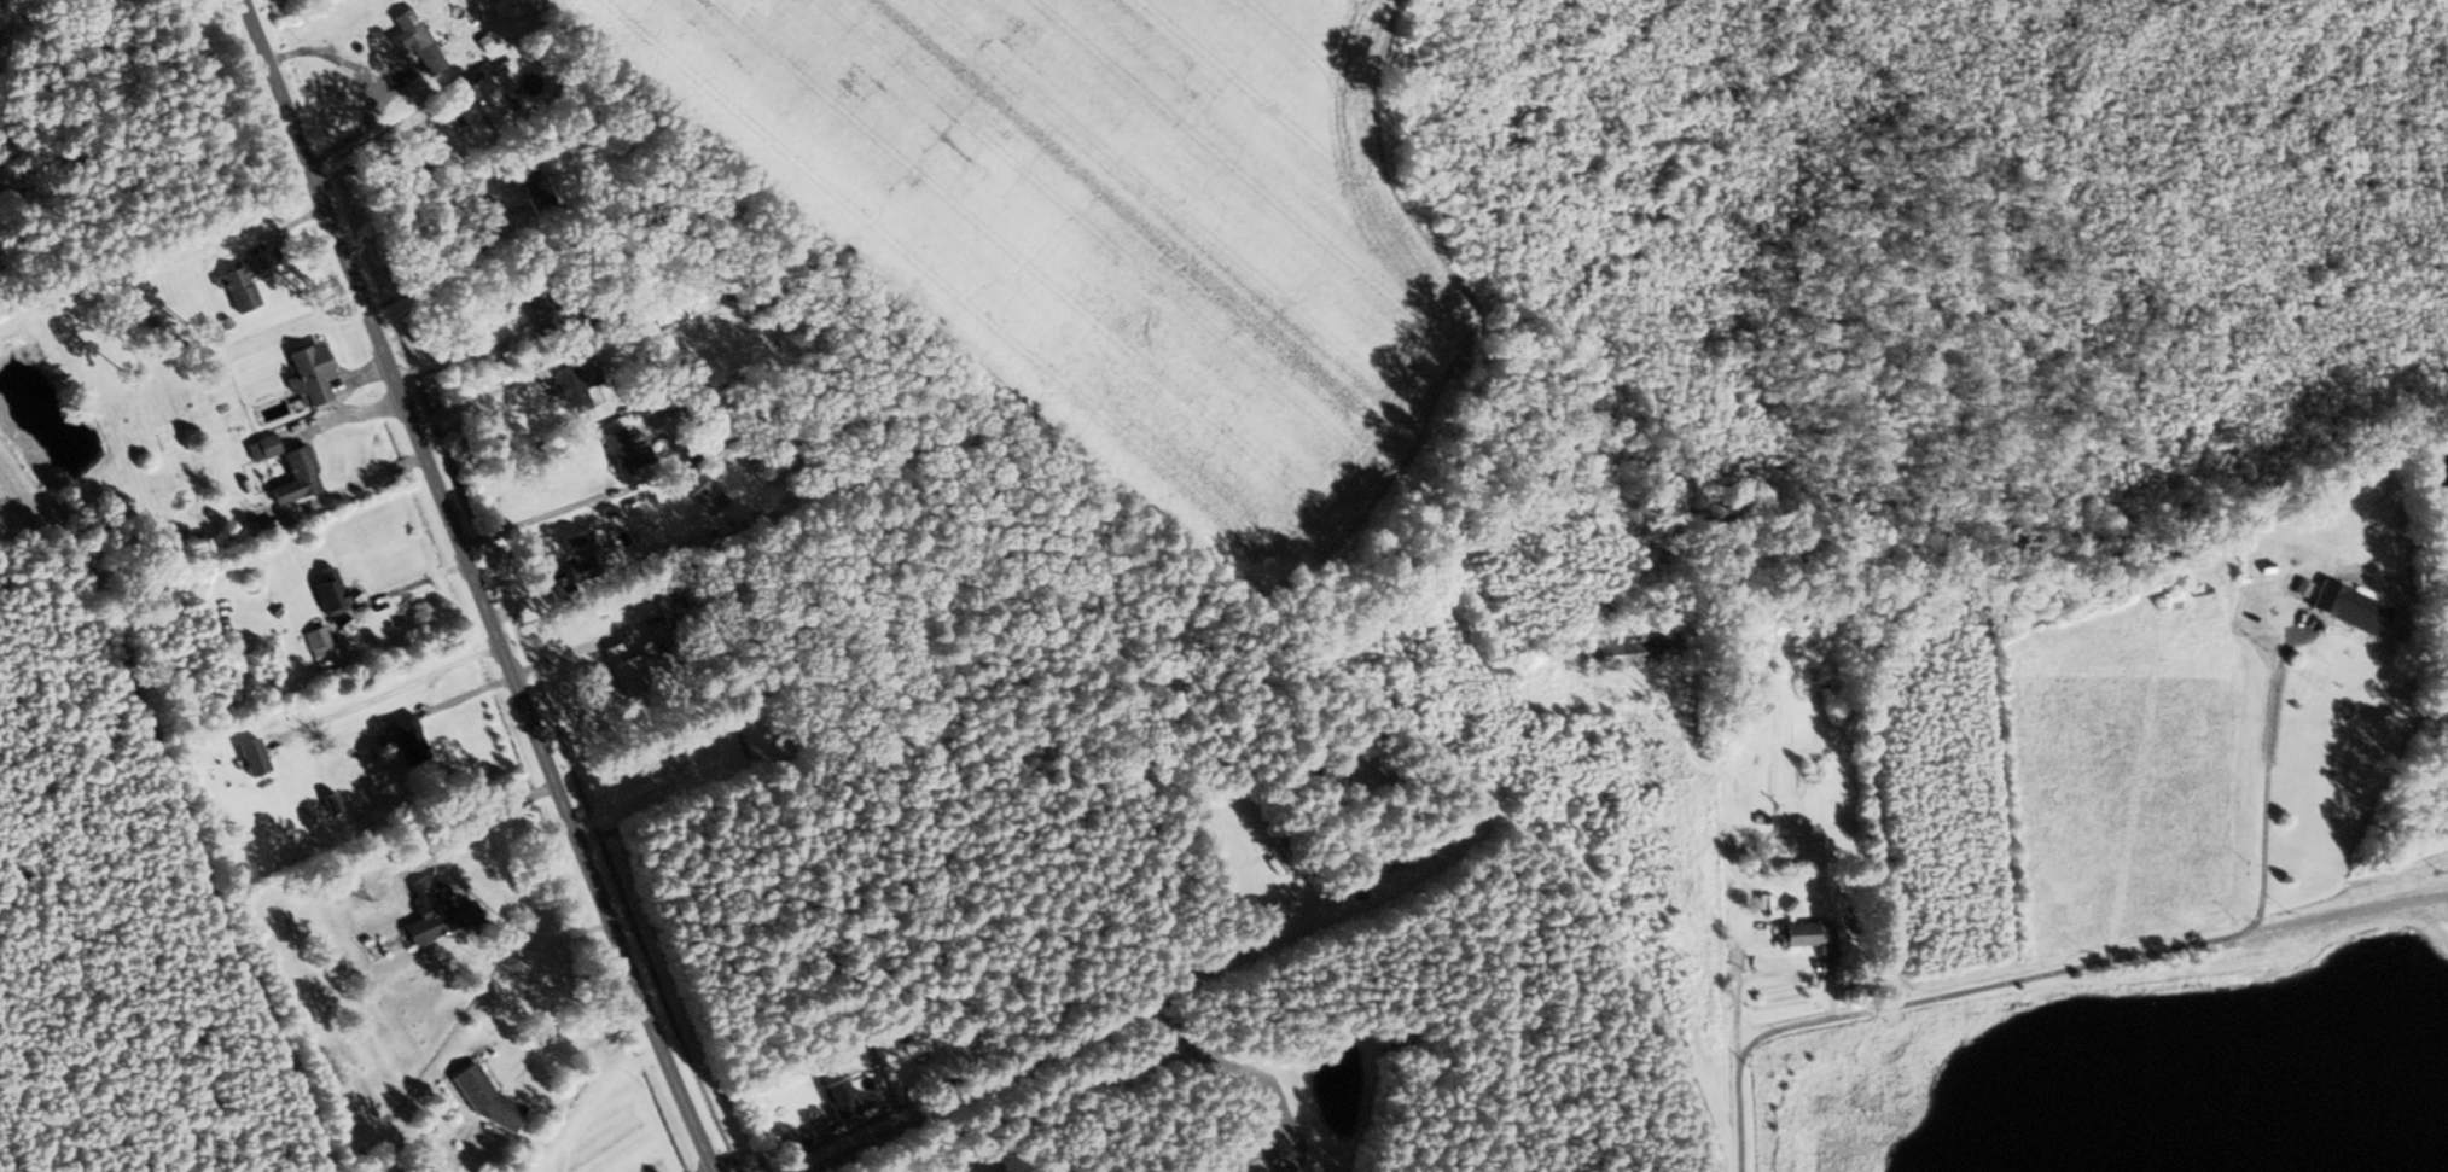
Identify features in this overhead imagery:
building: (411, 40)
building: (484, 101)
road: (384, 140)
building: (531, 188)
building: (244, 285)
road: (174, 333)
building: (315, 377)
building: (571, 386)
road: (475, 396)
building: (266, 449)
building: (617, 455)
building: (673, 459)
building: (302, 478)
building: (700, 498)
building: (577, 553)
road: (475, 585)
building: (324, 591)
building: (2170, 600)
building: (2345, 608)
building: (2237, 622)
road: (2301, 626)
building: (314, 642)
building: (1629, 653)
building: (618, 667)
road: (390, 689)
building: (402, 739)
road: (492, 822)
building: (431, 911)
building: (1803, 935)
road: (2074, 969)
building: (833, 1098)
road: (786, 1141)
road: (703, 1168)

